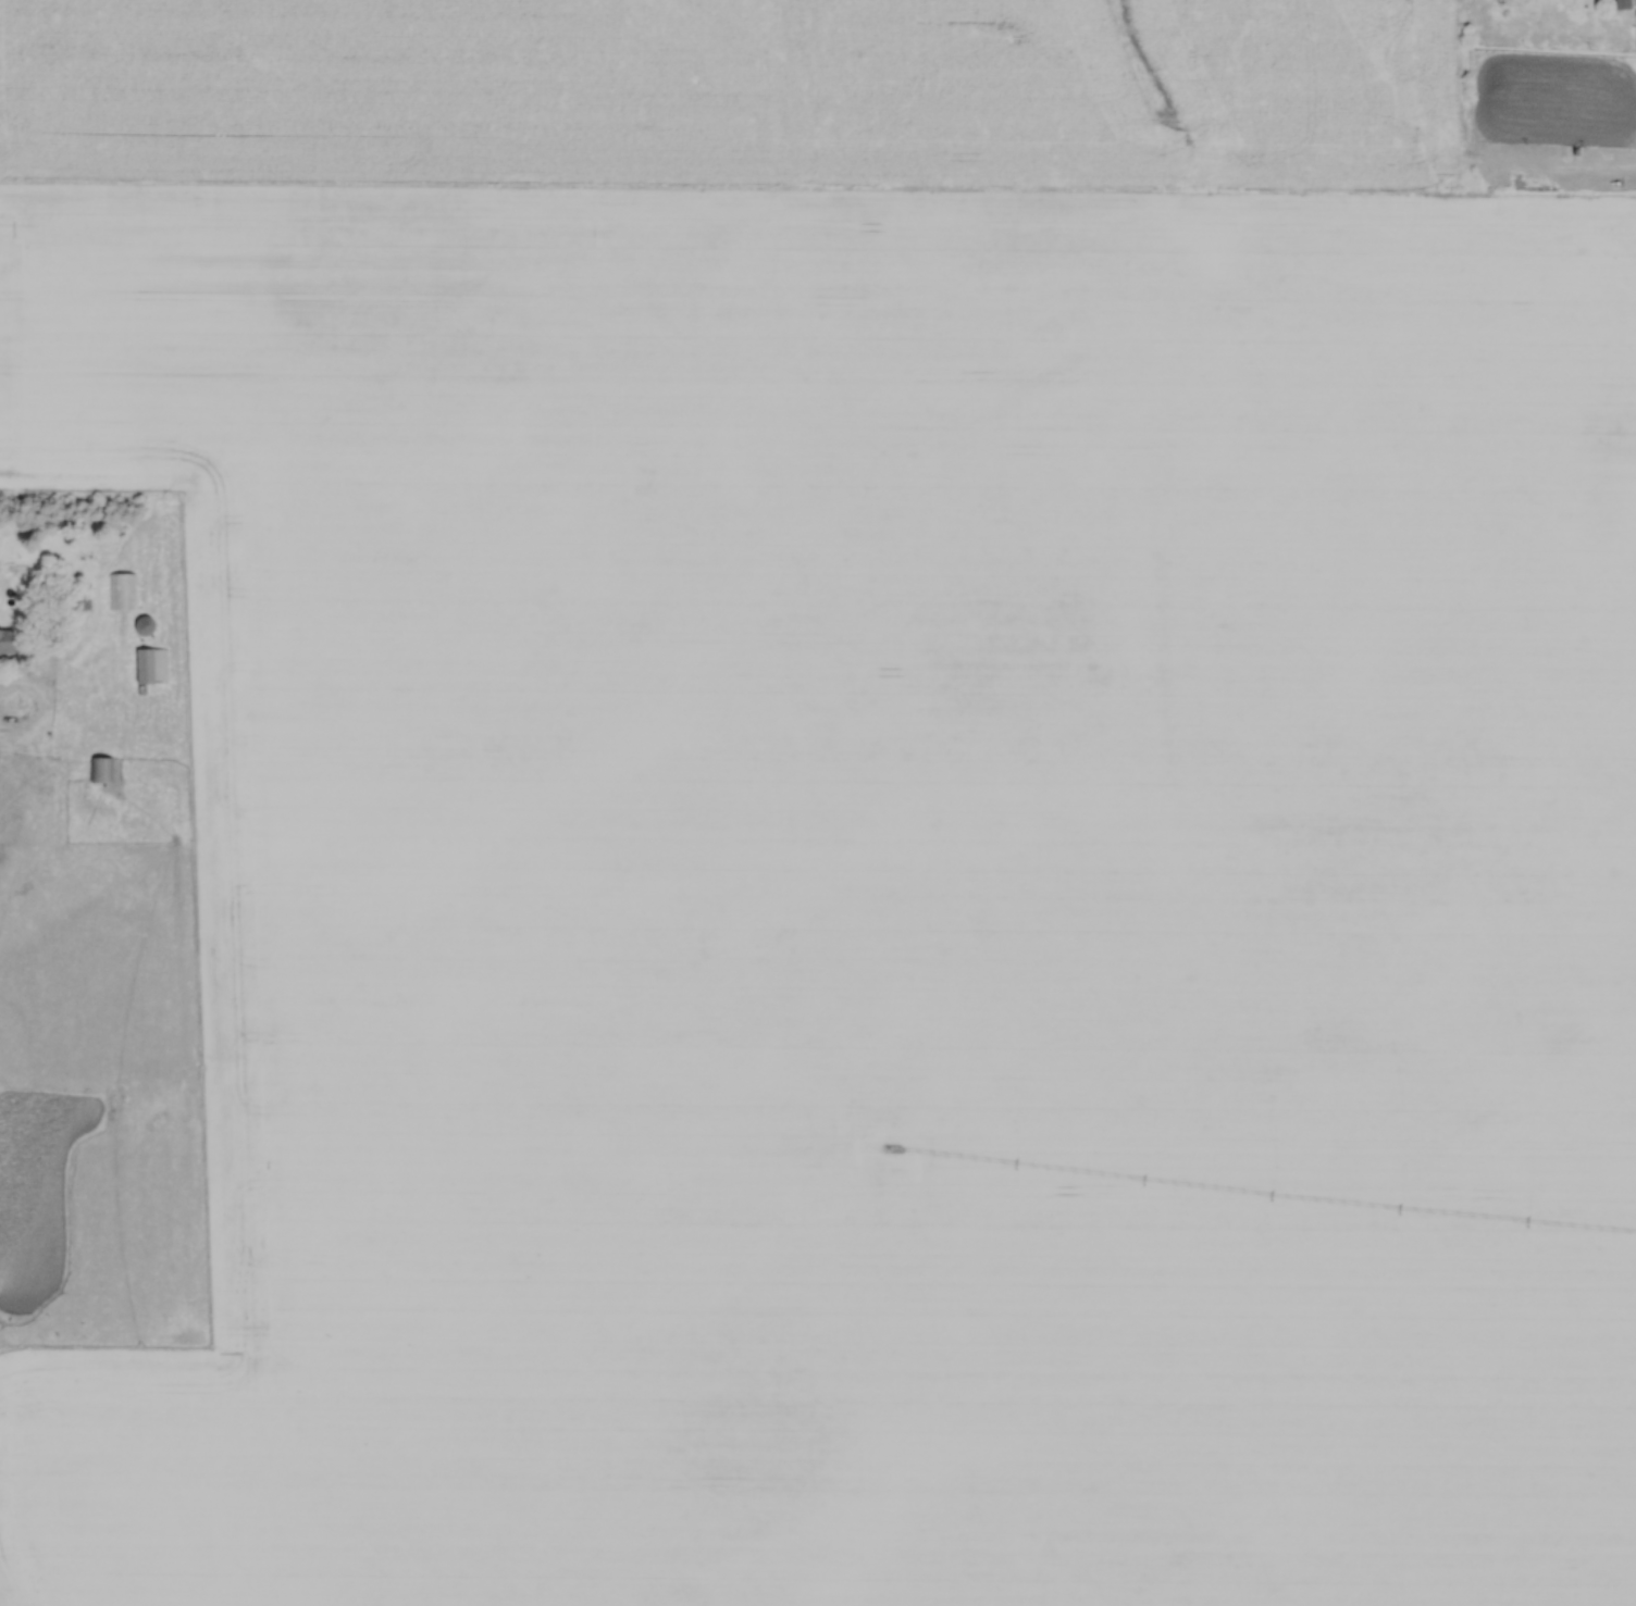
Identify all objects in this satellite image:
building: (121, 590)
building: (9, 644)
building: (151, 665)
road: (35, 712)
building: (98, 773)

